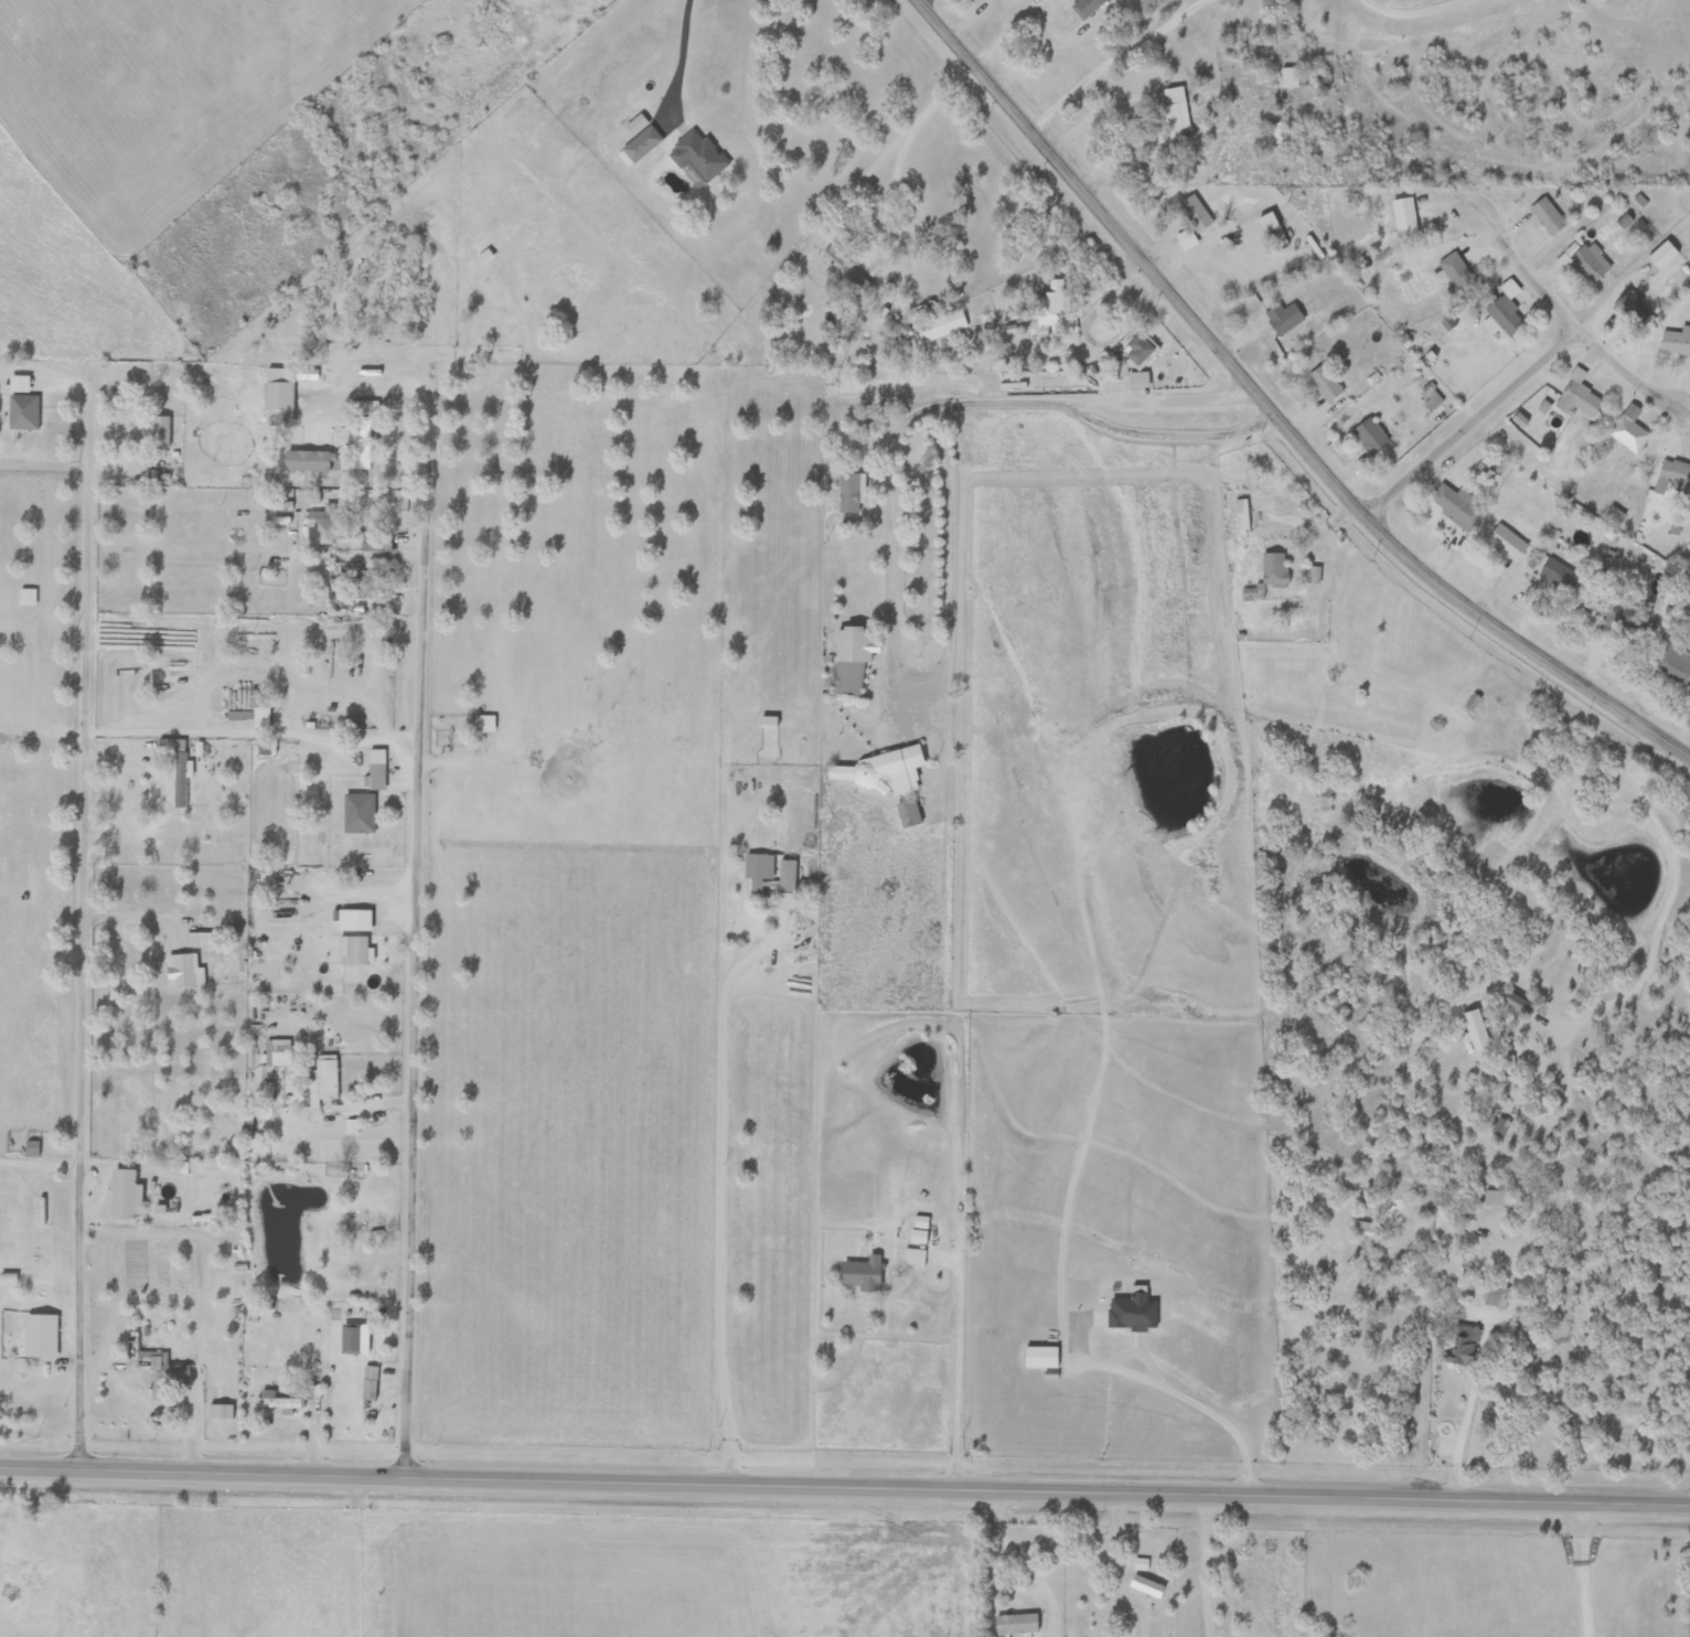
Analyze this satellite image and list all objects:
building: (1085, 7)
road: (1425, 17)
road: (681, 56)
road: (1125, 61)
building: (1293, 77)
building: (1174, 115)
building: (1277, 133)
road: (905, 137)
building: (640, 147)
building: (698, 157)
building: (1195, 214)
building: (1548, 216)
building: (1404, 217)
building: (1186, 239)
building: (1662, 256)
building: (1585, 261)
building: (846, 272)
building: (1457, 272)
building: (1509, 288)
road: (1558, 308)
building: (1055, 310)
building: (1633, 310)
building: (1504, 315)
building: (1284, 318)
building: (942, 327)
building: (1676, 342)
building: (1138, 351)
building: (20, 384)
building: (1325, 384)
building: (280, 396)
building: (1577, 398)
road: (919, 405)
road: (1276, 411)
building: (24, 413)
road: (1467, 418)
building: (1628, 430)
building: (156, 432)
building: (1372, 435)
road: (1169, 437)
building: (361, 445)
building: (311, 461)
building: (1672, 479)
building: (851, 493)
building: (1457, 507)
building: (1242, 515)
building: (327, 522)
building: (373, 544)
building: (1508, 544)
building: (1275, 570)
building: (1561, 578)
road: (1378, 584)
building: (28, 598)
building: (1618, 614)
building: (852, 659)
building: (1675, 664)
building: (235, 717)
building: (261, 718)
building: (485, 725)
road: (346, 737)
building: (377, 770)
building: (177, 771)
building: (883, 771)
building: (360, 814)
building: (758, 871)
road: (413, 886)
building: (787, 886)
building: (354, 921)
road: (130, 933)
building: (197, 941)
building: (359, 952)
road: (81, 967)
building: (235, 967)
building: (184, 972)
building: (325, 1083)
building: (125, 1195)
road: (720, 1196)
building: (1495, 1199)
building: (1367, 1230)
building: (920, 1231)
building: (913, 1258)
building: (862, 1275)
building: (340, 1285)
building: (1496, 1297)
building: (352, 1339)
building: (1464, 1346)
building: (32, 1348)
building: (1040, 1358)
road: (954, 1365)
building: (152, 1366)
road: (1178, 1394)
building: (279, 1404)
road: (1461, 1442)
road: (844, 1485)
road: (1023, 1560)
road: (1212, 1563)
building: (1141, 1565)
road: (1583, 1568)
building: (1146, 1586)
building: (1017, 1625)

